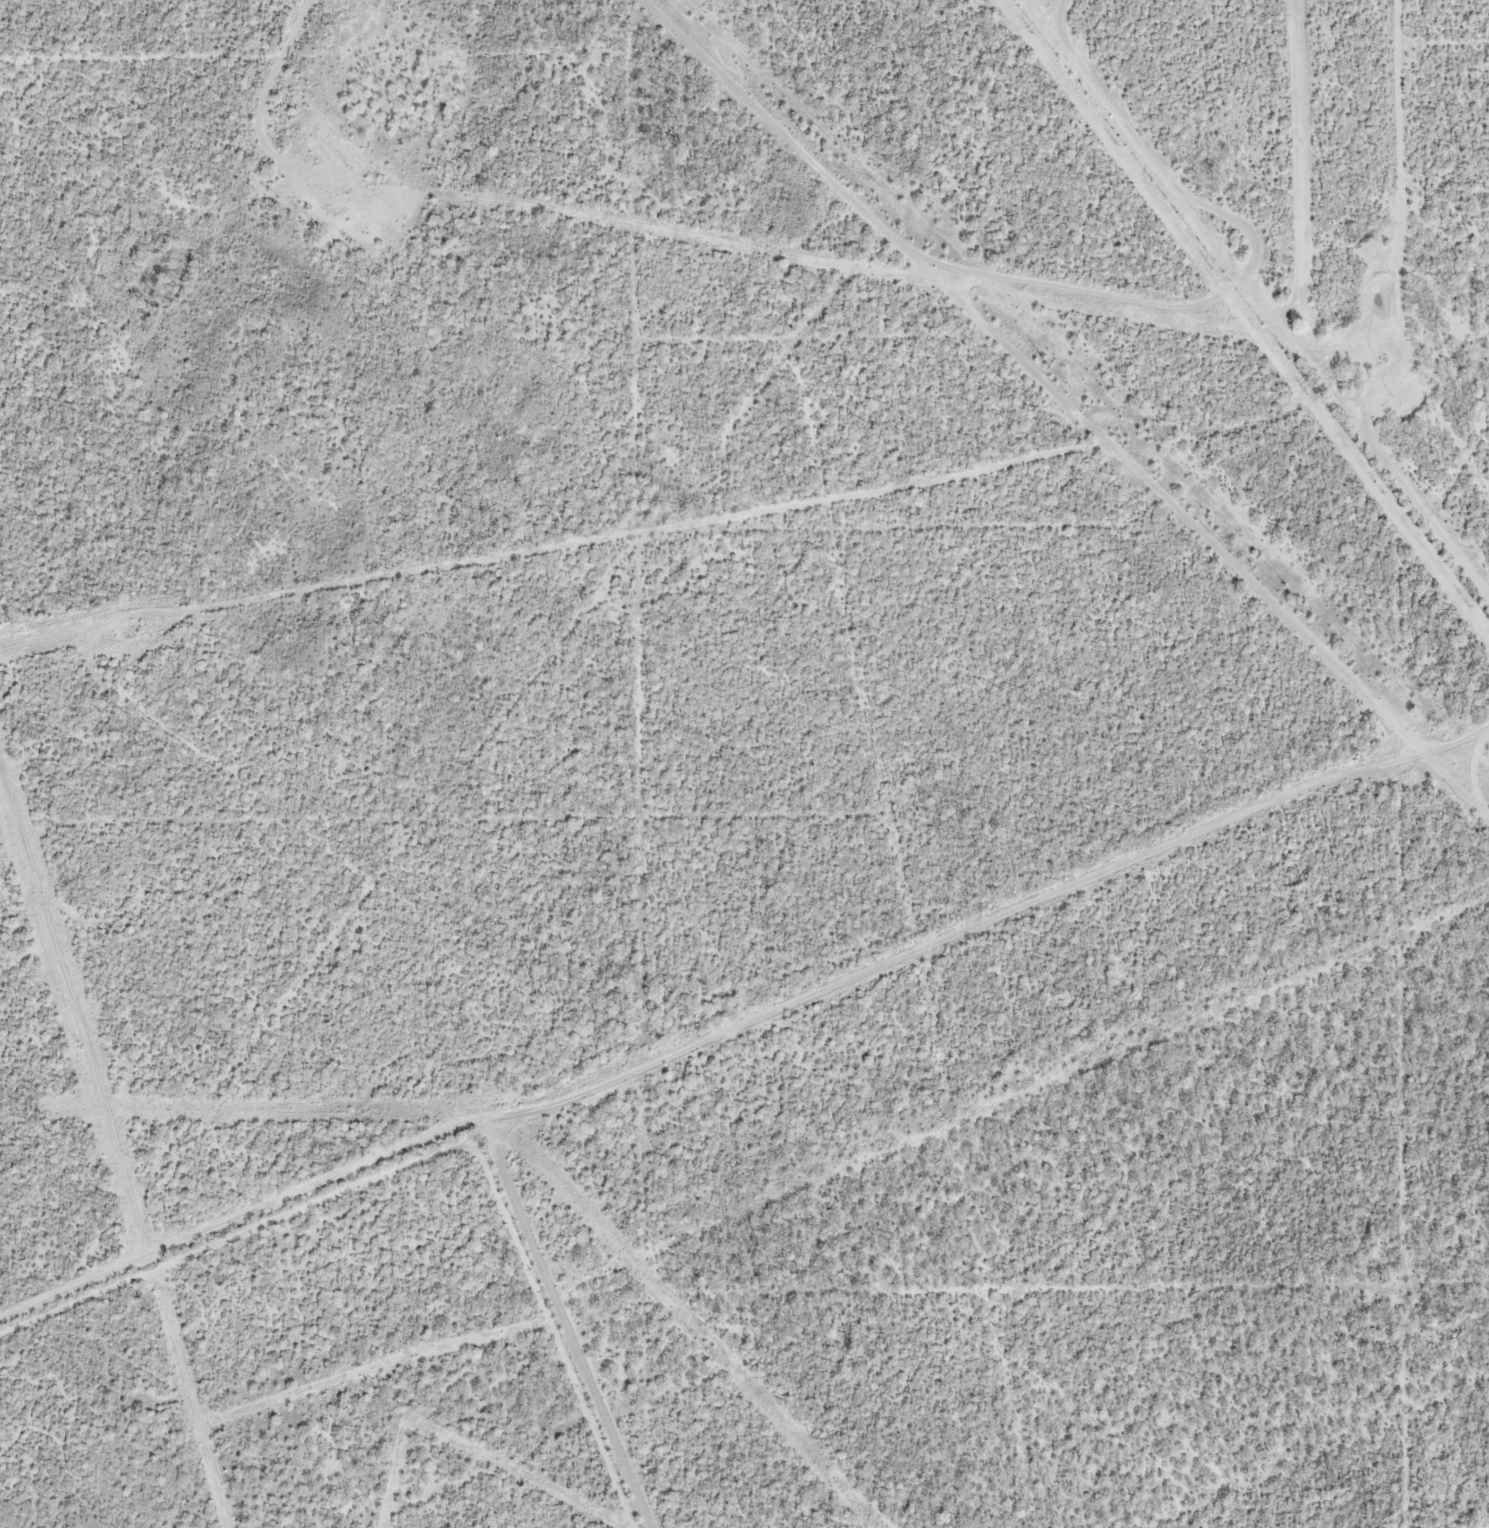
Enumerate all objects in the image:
power tower: (801, 132)
power tower: (1049, 370)
power tower: (1299, 608)

